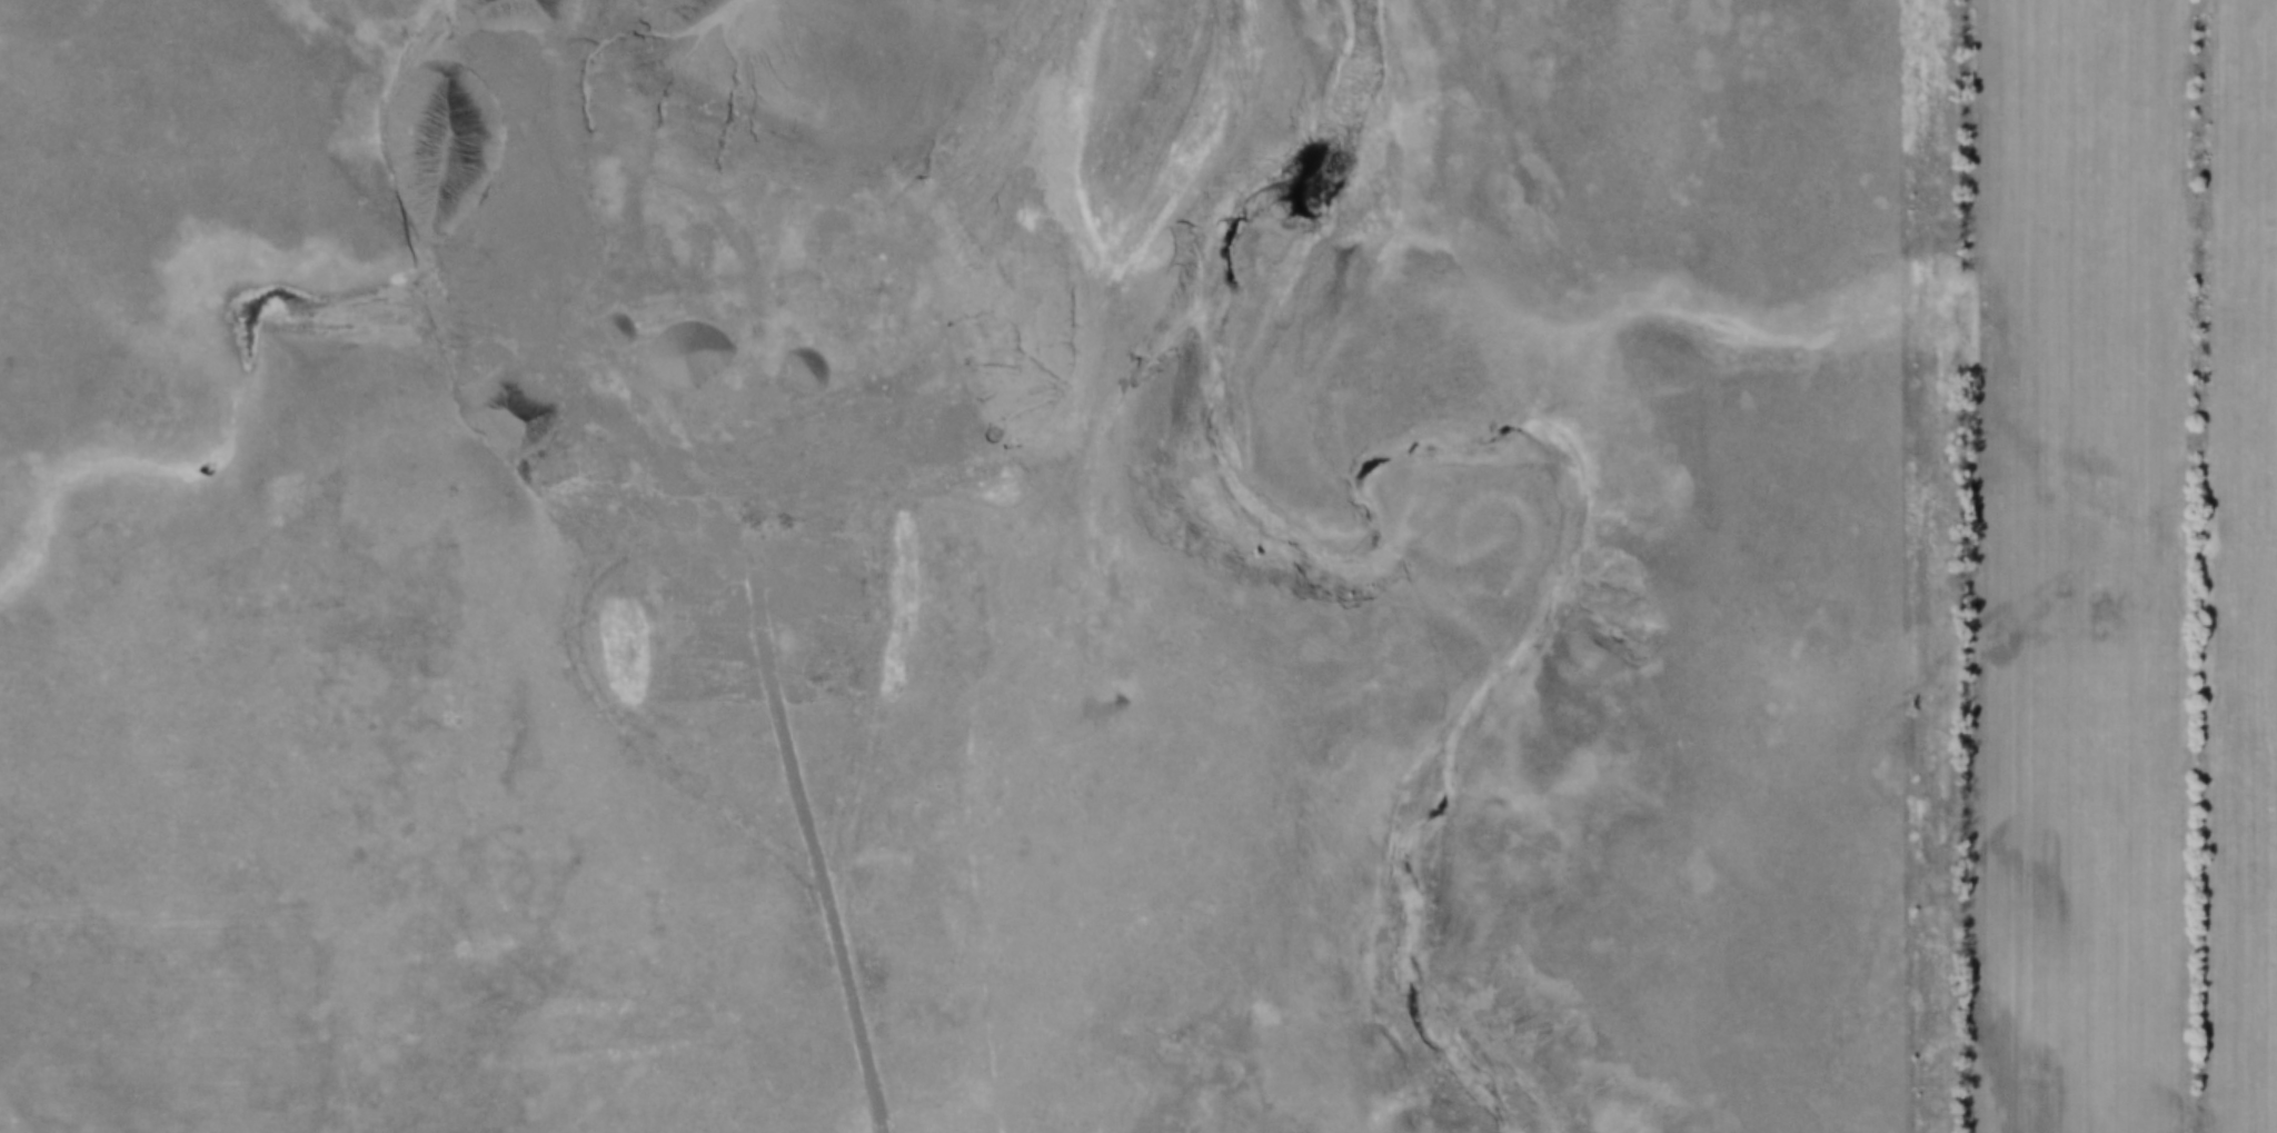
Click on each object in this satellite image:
quarry: (743, 238)

